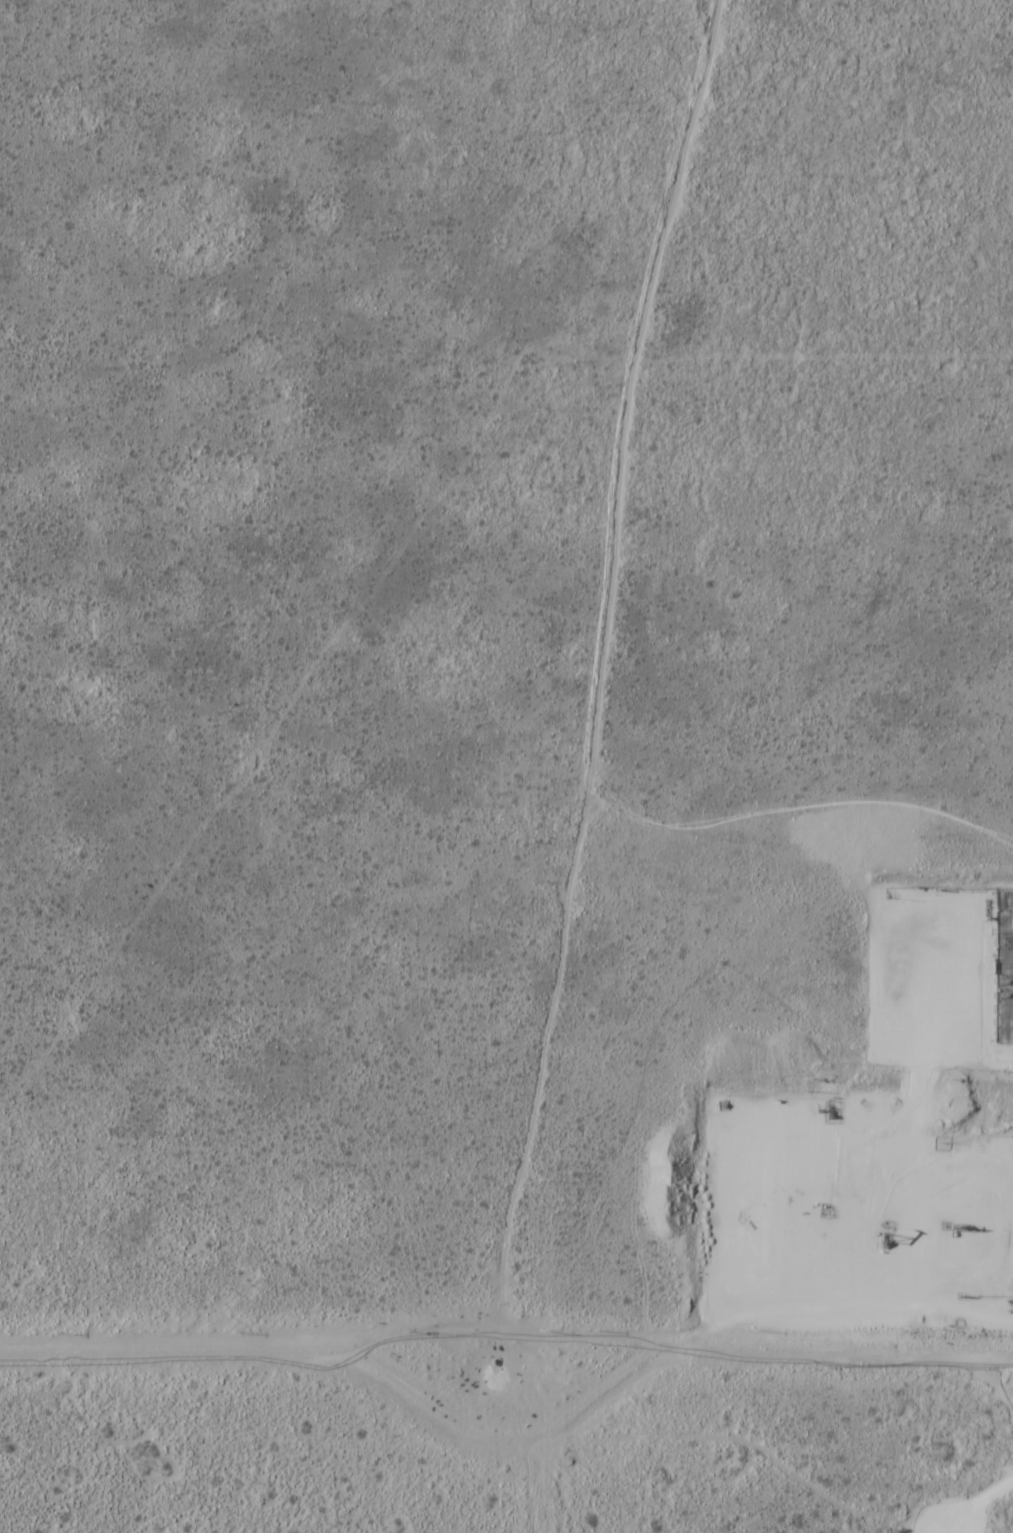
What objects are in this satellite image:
road: (937, 1107)
road: (873, 1312)

